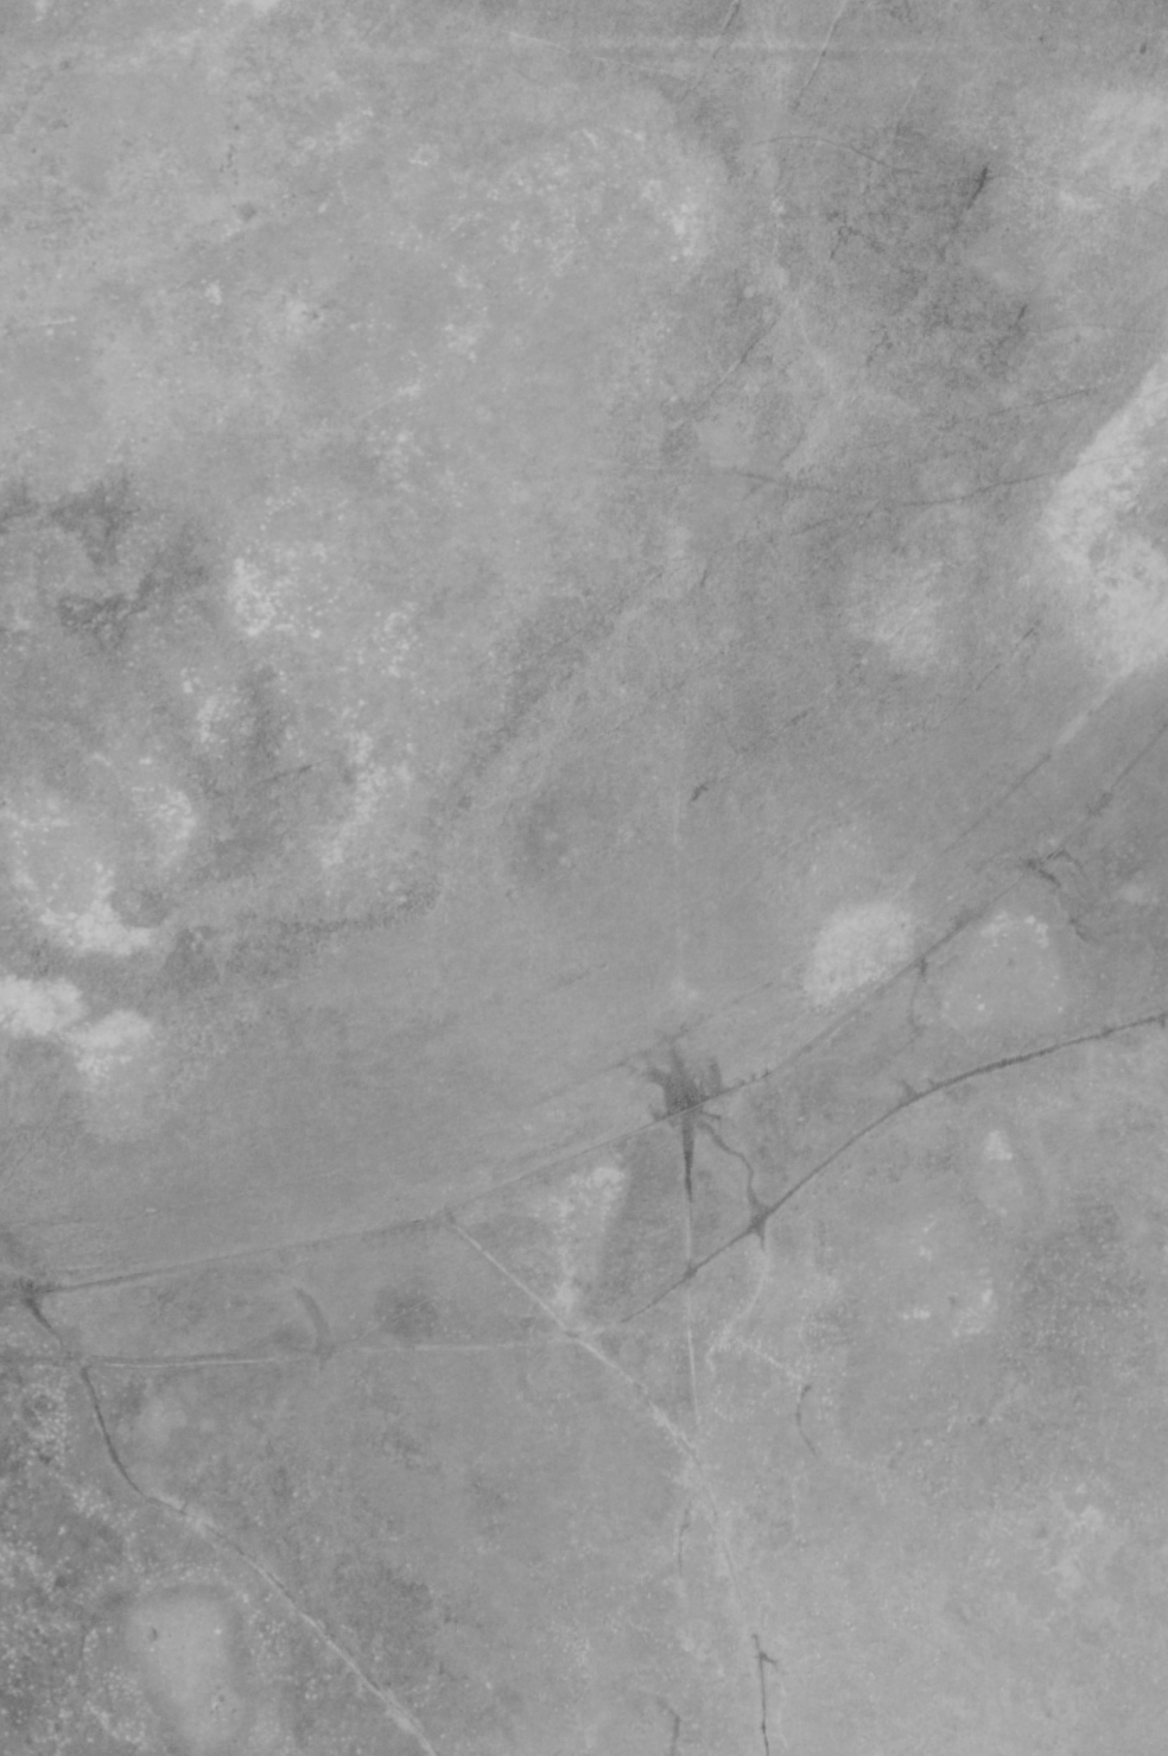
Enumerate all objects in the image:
crop: (584, 877)

